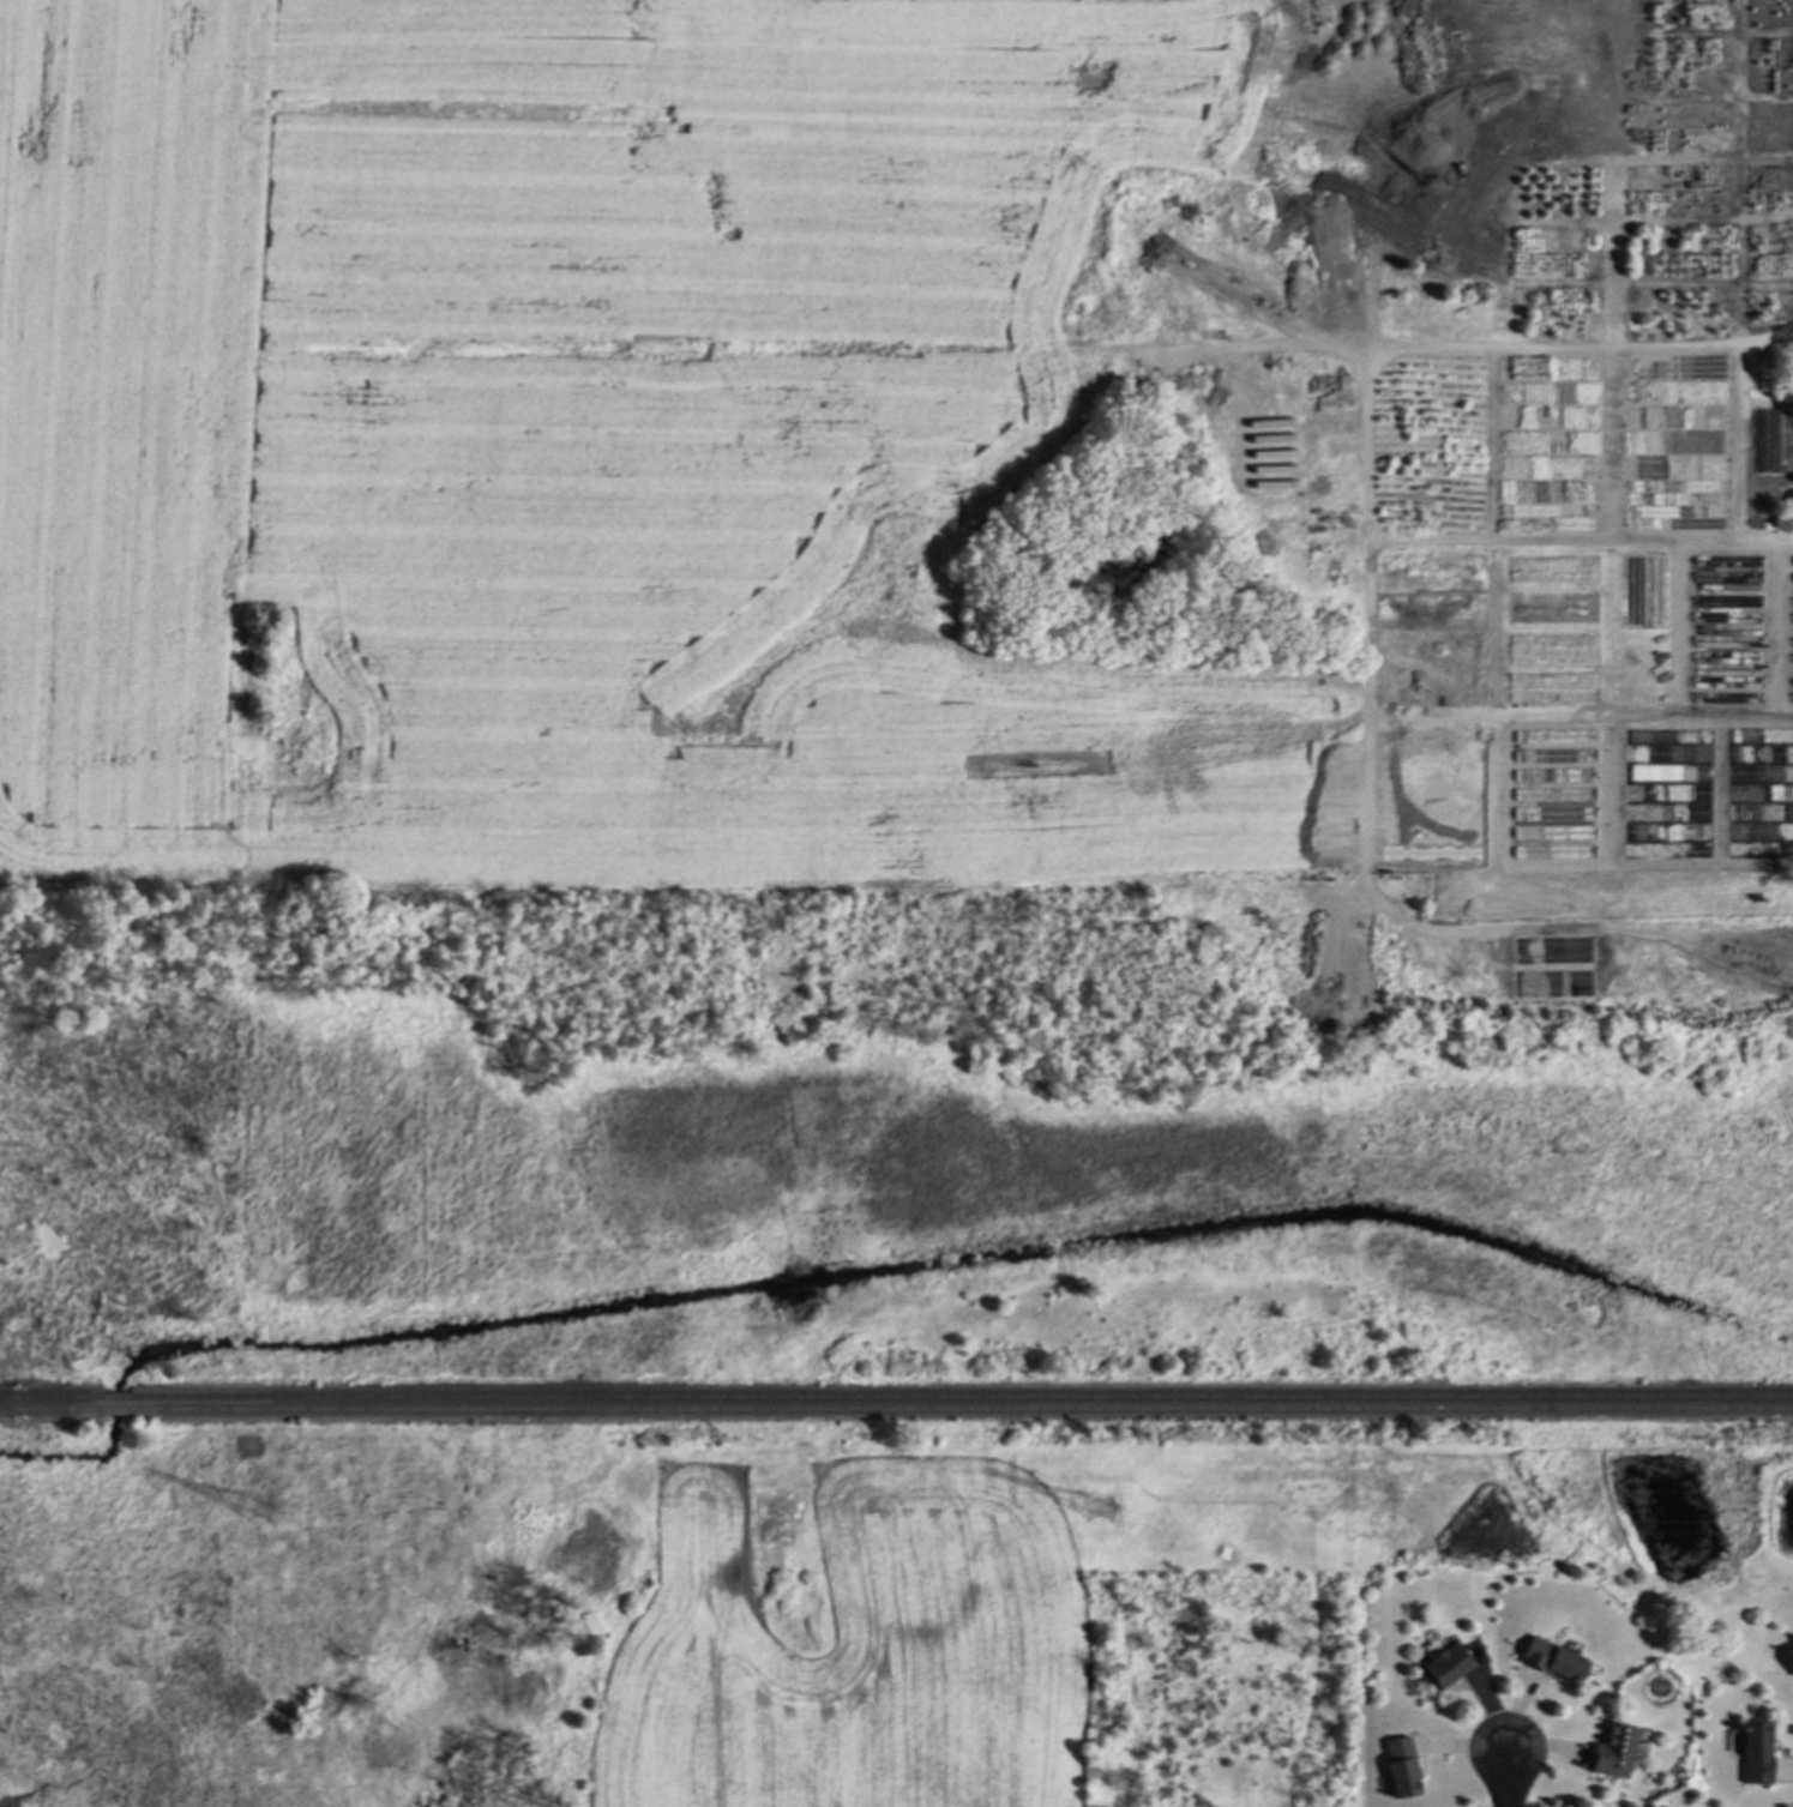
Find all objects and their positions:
crop: (582, 450)
building: (1792, 498)
building: (1782, 522)
railway: (49, 1398)
railway: (115, 1398)
railway: (962, 1398)
railway: (48, 1410)
railway: (963, 1410)
railway: (115, 1411)
power tower: (1102, 1507)
power tower: (257, 1510)
crop: (854, 1643)
building: (1792, 1652)
building: (1552, 1660)
building: (1443, 1664)
building: (1612, 1749)
building: (1755, 1752)
building: (1400, 1766)
road: (1509, 1777)

